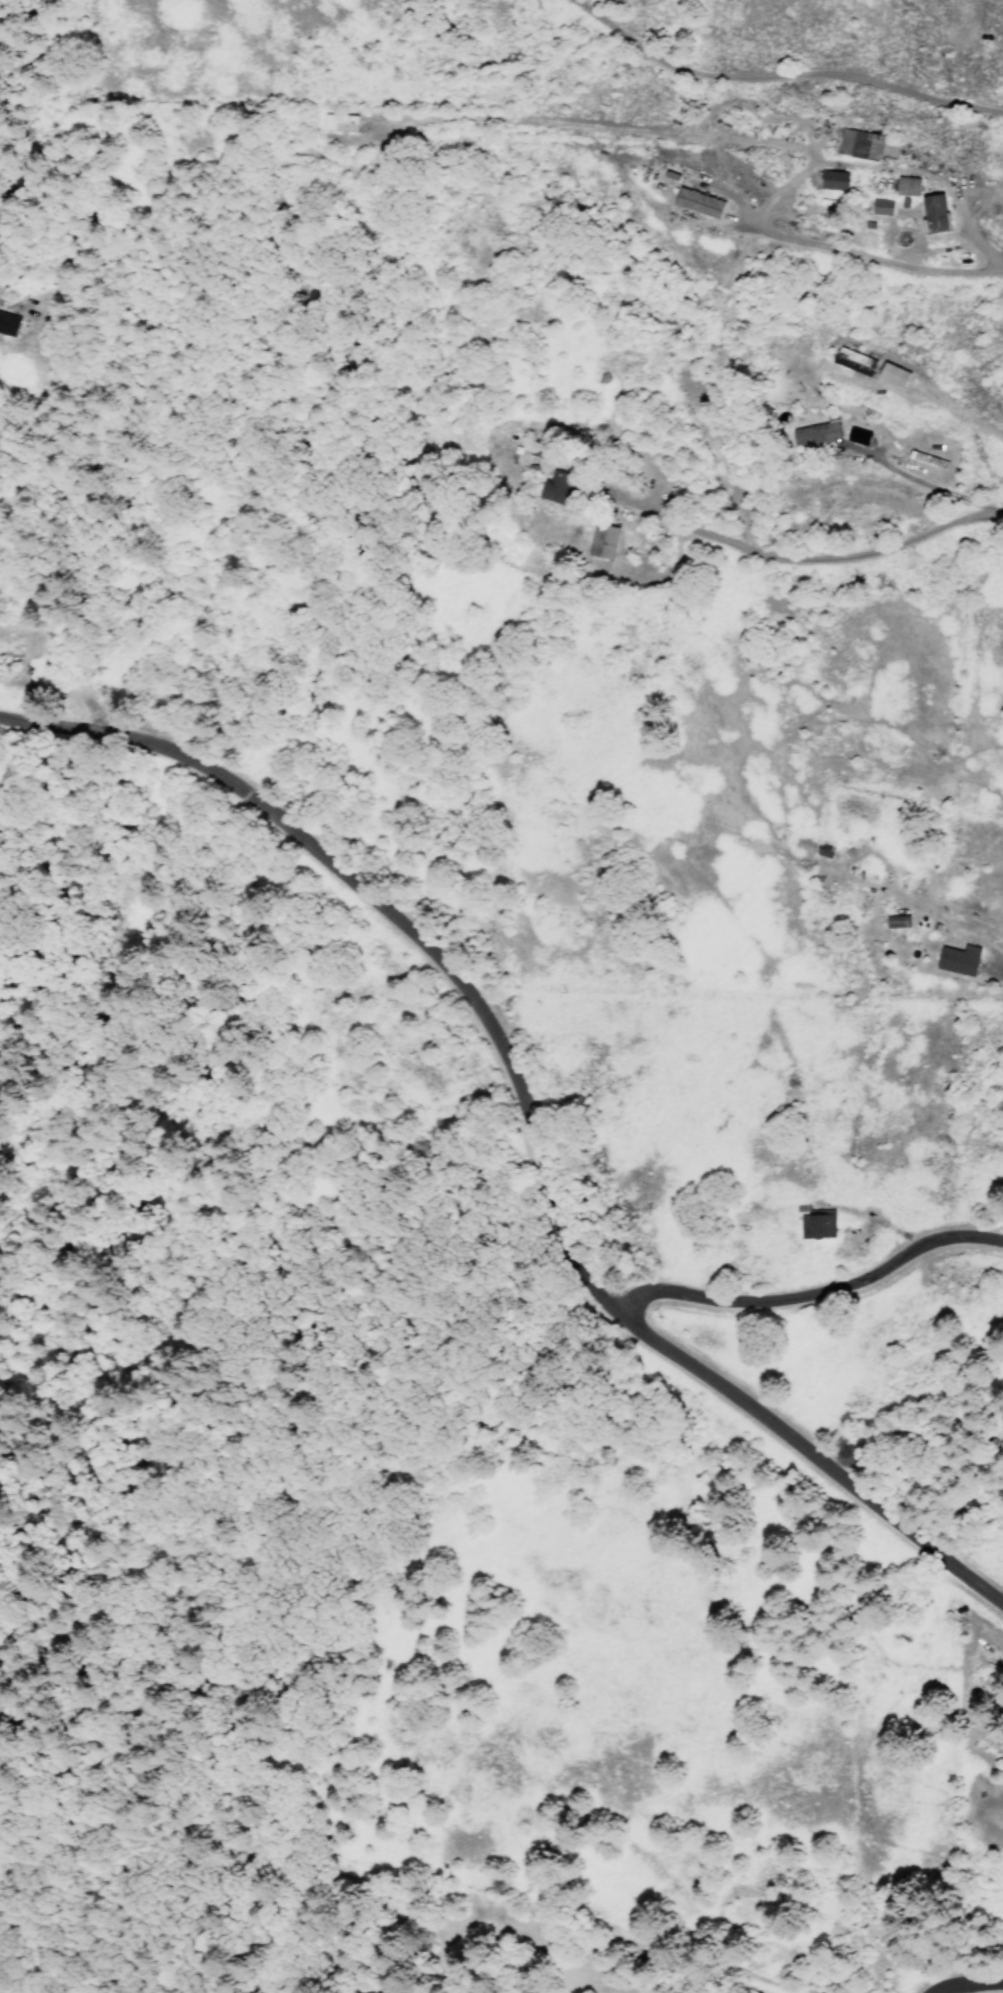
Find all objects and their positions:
road: (784, 75)
building: (339, 124)
building: (866, 147)
building: (833, 181)
building: (906, 187)
building: (697, 204)
building: (881, 207)
building: (934, 215)
building: (6, 325)
building: (853, 362)
building: (892, 375)
building: (815, 435)
building: (556, 488)
building: (602, 543)
road: (814, 560)
building: (803, 845)
building: (824, 850)
building: (897, 922)
building: (958, 960)
road: (1000, 968)
road: (530, 1120)
building: (820, 1226)
road: (813, 1298)
road: (969, 1981)

